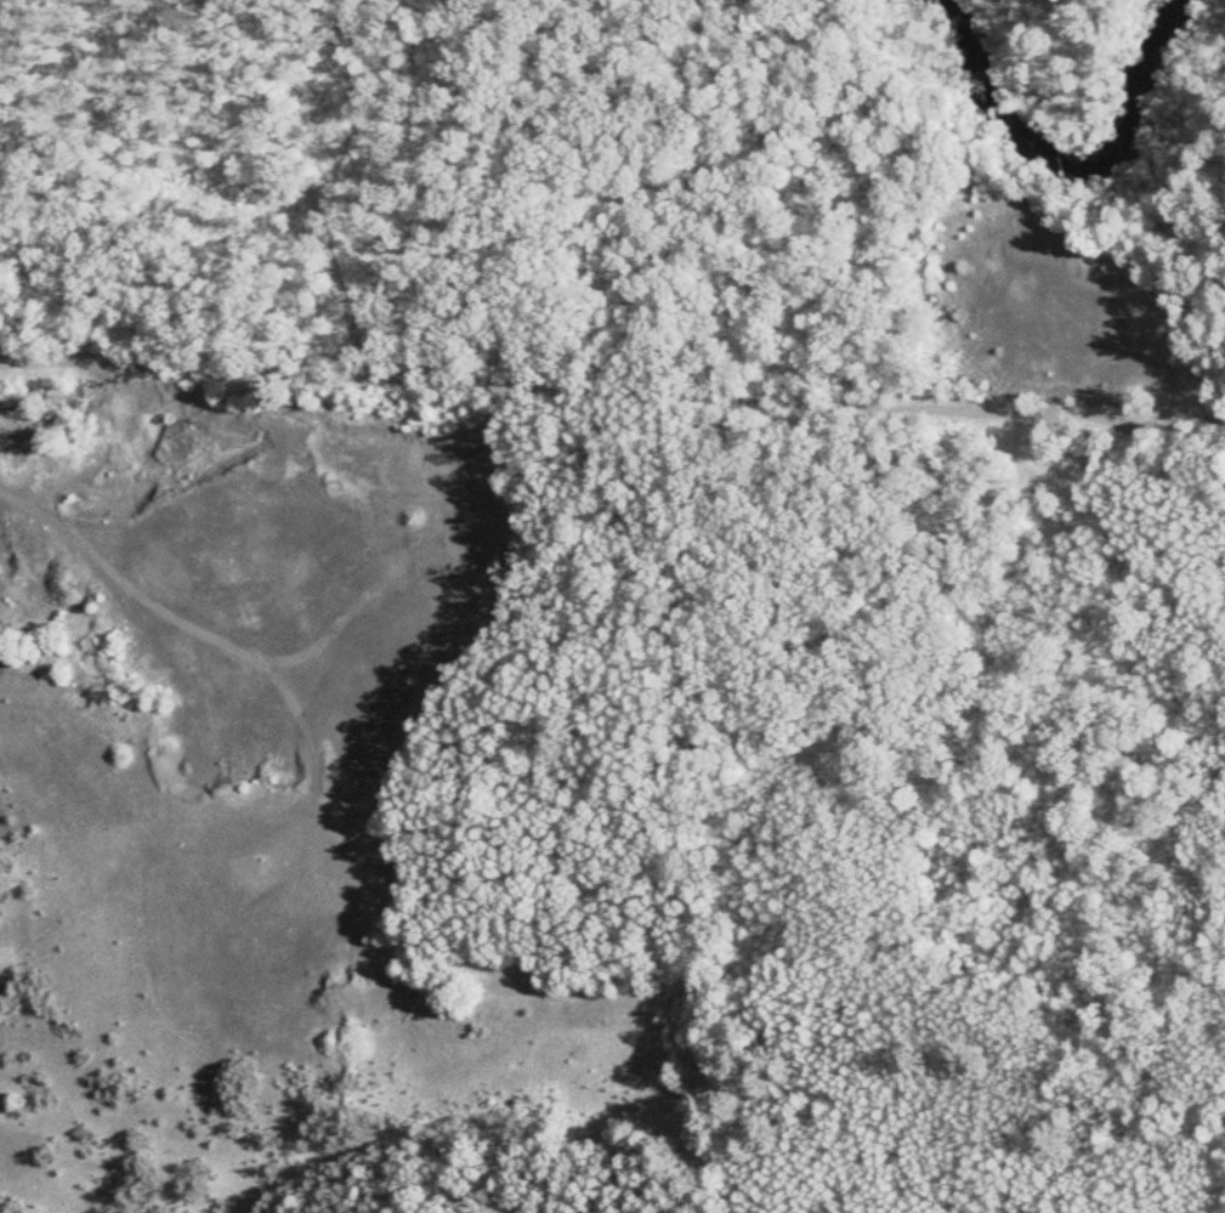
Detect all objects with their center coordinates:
river: (1067, 164)
road: (243, 202)
road: (612, 352)

